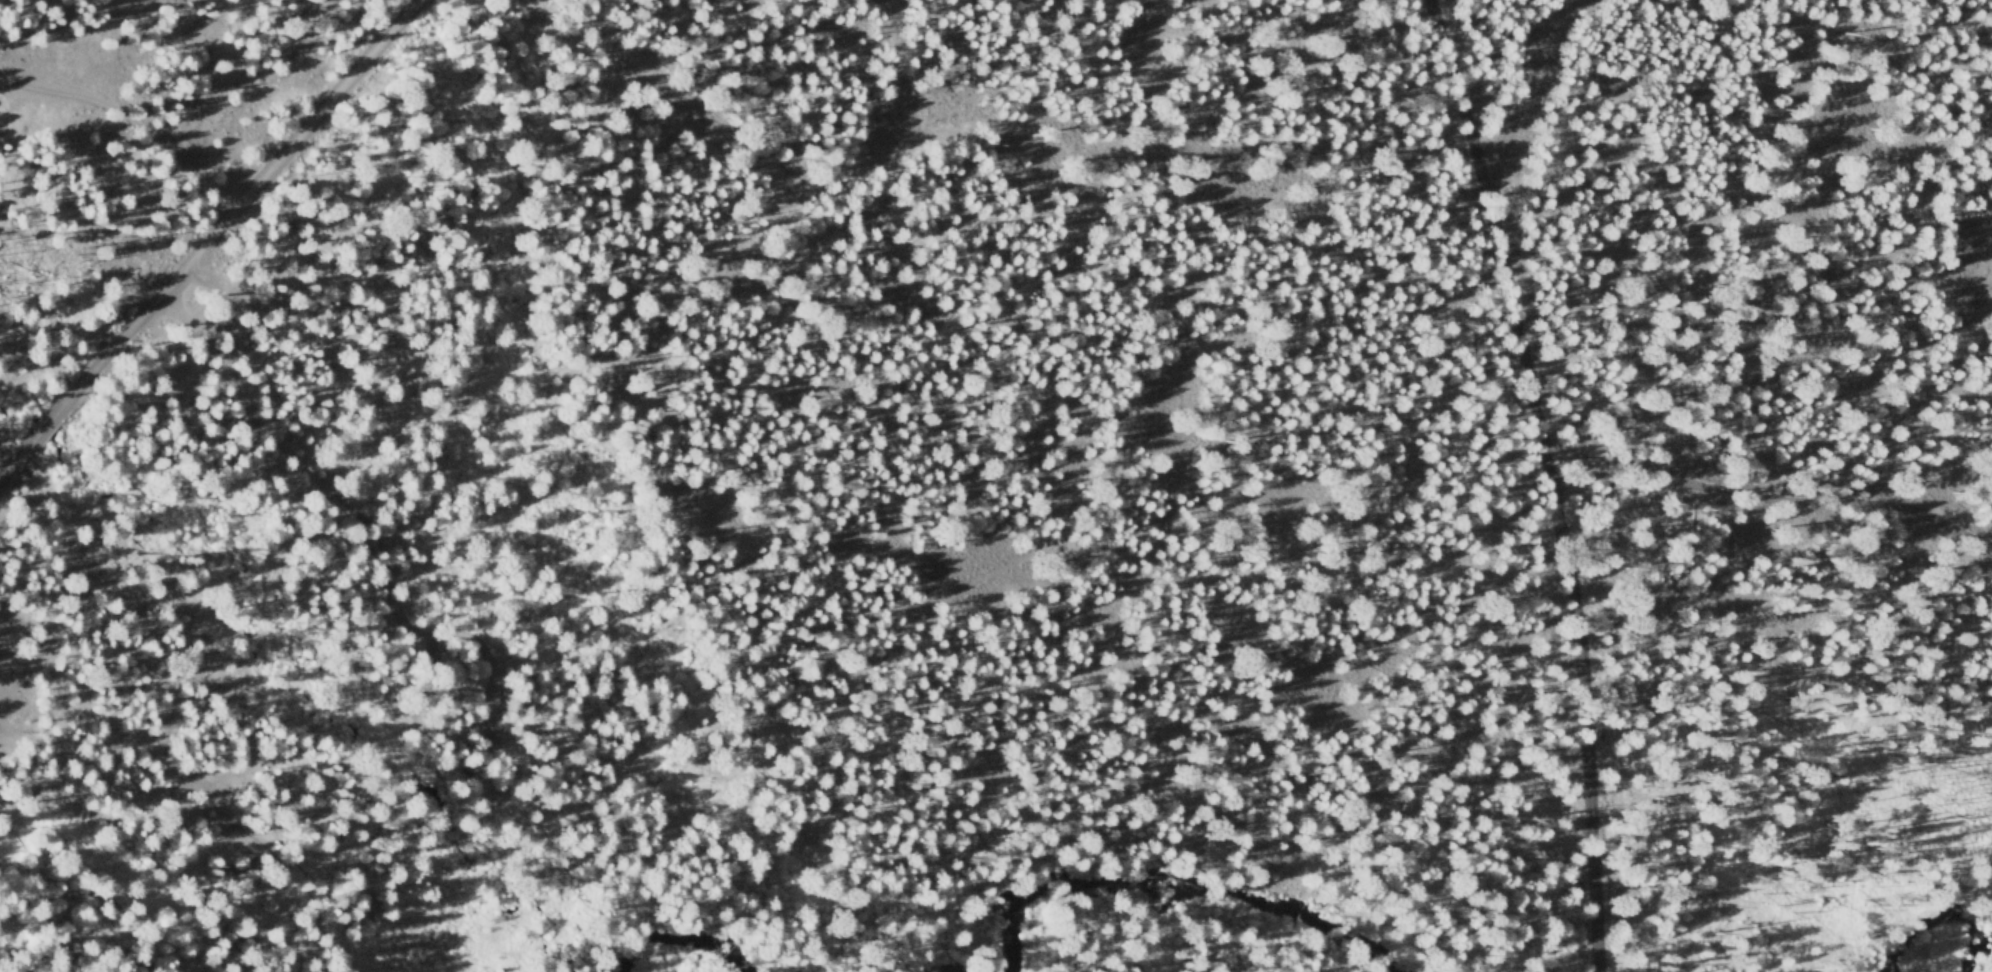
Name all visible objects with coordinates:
road: (1548, 85)
road: (132, 116)
road: (1500, 222)
road: (210, 237)
road: (1780, 500)
road: (397, 603)
road: (1603, 710)

